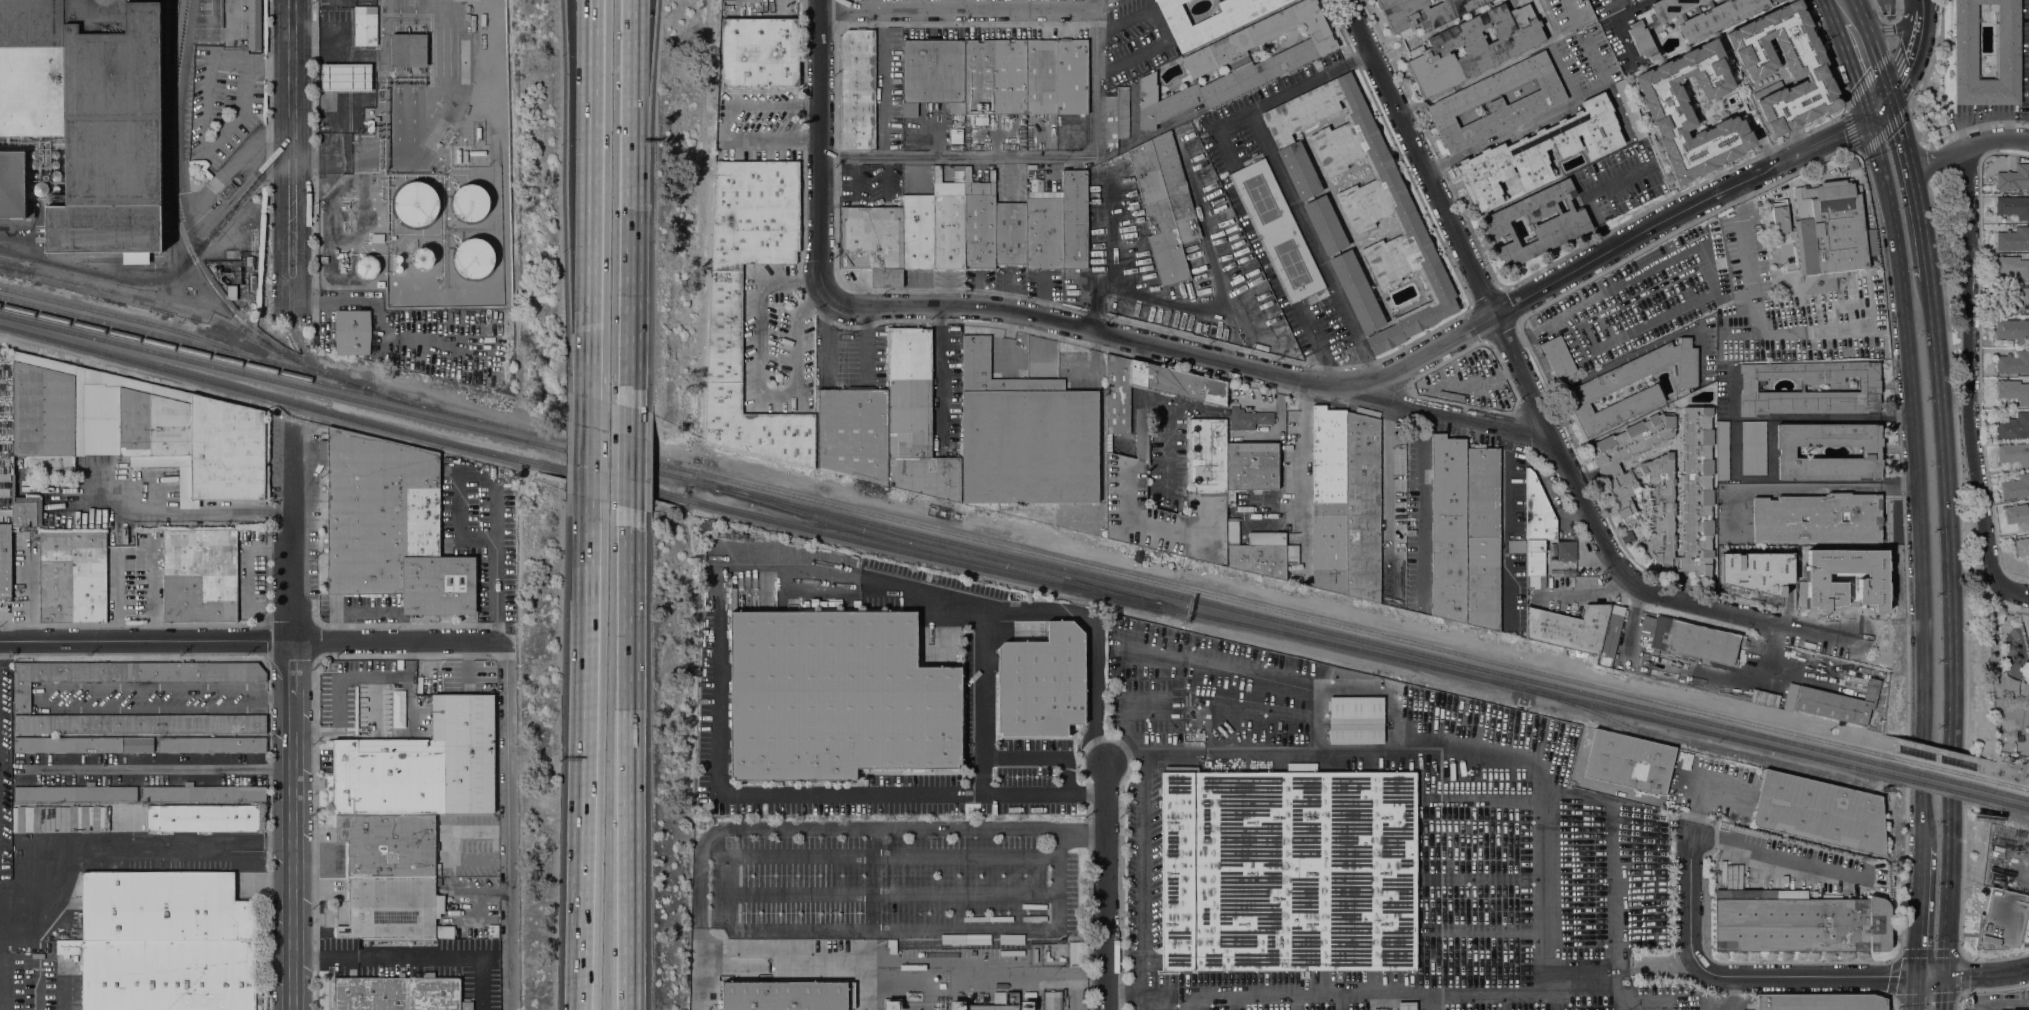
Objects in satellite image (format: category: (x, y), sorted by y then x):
building: (724, 0)
building: (1537, 0)
building: (1109, 1)
building: (1496, 1)
road: (1354, 3)
road: (1855, 7)
building: (467, 8)
road: (962, 11)
road: (1538, 12)
building: (1422, 13)
building: (1570, 13)
building: (466, 17)
building: (1718, 17)
building: (1210, 19)
building: (472, 22)
building: (1656, 23)
road: (1861, 23)
building: (254, 25)
building: (365, 25)
road: (1895, 26)
road: (1886, 28)
road: (1162, 32)
building: (1965, 41)
road: (1890, 43)
road: (634, 45)
road: (644, 45)
building: (1473, 47)
building: (408, 50)
road: (1912, 50)
building: (759, 52)
road: (1893, 54)
railway: (175, 55)
building: (1237, 63)
road: (1849, 68)
building: (1807, 71)
building: (932, 74)
road: (1880, 75)
building: (1056, 76)
building: (346, 77)
building: (994, 77)
road: (880, 85)
building: (857, 89)
road: (1293, 89)
road: (592, 94)
building: (1496, 102)
road: (775, 103)
building: (1630, 109)
building: (1667, 109)
building: (90, 115)
building: (1117, 117)
road: (1542, 117)
building: (370, 125)
building: (478, 133)
road: (758, 138)
road: (1224, 146)
road: (1967, 147)
road: (820, 150)
building: (477, 152)
building: (1539, 152)
building: (33, 154)
building: (55, 154)
building: (458, 156)
road: (1037, 158)
road: (291, 159)
building: (33, 164)
building: (55, 164)
building: (1852, 164)
building: (56, 175)
building: (2014, 178)
building: (1987, 179)
road: (856, 180)
road: (887, 180)
building: (13, 185)
building: (56, 188)
building: (227, 190)
building: (42, 191)
road: (1586, 194)
road: (1913, 196)
building: (1364, 197)
building: (470, 202)
storage tank: (470, 202)
building: (417, 203)
storage tank: (417, 203)
railway: (174, 204)
building: (1164, 205)
building: (2013, 206)
building: (1075, 219)
building: (948, 220)
building: (1714, 223)
building: (1563, 224)
building: (979, 225)
building: (1325, 225)
building: (1044, 230)
building: (1277, 231)
building: (917, 232)
building: (1010, 233)
road: (631, 238)
building: (2013, 238)
building: (872, 243)
road: (1624, 243)
road: (1314, 246)
building: (340, 256)
building: (474, 257)
storage tank: (474, 257)
building: (398, 258)
storage tank: (398, 258)
building: (423, 258)
storage tank: (423, 258)
building: (1833, 258)
building: (323, 259)
building: (250, 262)
railway: (17, 266)
building: (367, 266)
storage tank: (367, 266)
building: (2013, 267)
building: (398, 268)
storage tank: (398, 268)
road: (1752, 275)
road: (1899, 278)
building: (253, 281)
building: (380, 284)
building: (231, 291)
building: (1356, 291)
road: (591, 293)
road: (1485, 298)
building: (2011, 299)
railway: (210, 316)
railway: (134, 319)
building: (2013, 331)
building: (353, 332)
building: (1609, 333)
building: (725, 338)
railway: (180, 339)
building: (1738, 339)
building: (1583, 345)
road: (1933, 345)
road: (1191, 355)
building: (1558, 357)
building: (2014, 362)
road: (1094, 365)
road: (946, 371)
road: (836, 374)
road: (758, 380)
building: (1178, 383)
road: (1970, 384)
railway: (344, 386)
building: (1869, 387)
building: (1590, 389)
building: (2013, 391)
building: (1117, 396)
railway: (358, 400)
road: (1800, 417)
building: (914, 419)
building: (1248, 419)
building: (2014, 426)
building: (135, 430)
building: (853, 433)
building: (1025, 436)
building: (1102, 439)
road: (1300, 446)
building: (1753, 448)
building: (1722, 451)
building: (1870, 452)
building: (2014, 453)
road: (628, 455)
road: (589, 458)
railway: (632, 460)
railway: (576, 473)
building: (2015, 487)
road: (1808, 488)
building: (1623, 489)
road: (1388, 490)
building: (1696, 491)
building: (1329, 500)
building: (1199, 503)
building: (1363, 507)
road: (1422, 507)
building: (25, 510)
road: (496, 510)
road: (176, 512)
building: (1538, 512)
building: (2017, 514)
building: (1817, 518)
building: (390, 526)
road: (1502, 527)
building: (1447, 529)
road: (292, 531)
building: (1481, 536)
building: (1627, 537)
road: (496, 538)
building: (1516, 546)
building: (2022, 546)
railway: (936, 547)
building: (1566, 550)
road: (1904, 551)
building: (1292, 554)
building: (1839, 556)
building: (1535, 559)
building: (5, 561)
road: (1963, 567)
building: (1754, 571)
building: (199, 576)
road: (855, 576)
building: (72, 577)
building: (1536, 582)
road: (29, 588)
road: (152, 591)
building: (1806, 593)
road: (117, 595)
road: (1922, 606)
road: (1948, 607)
railway: (1285, 611)
road: (1745, 618)
railway: (1300, 624)
building: (1569, 628)
building: (1611, 636)
building: (1692, 640)
road: (254, 642)
park: (2007, 654)
road: (292, 669)
building: (126, 674)
building: (1042, 684)
road: (50, 686)
railway: (1521, 687)
building: (2023, 689)
building: (837, 697)
building: (1763, 698)
road: (983, 702)
building: (1832, 702)
building: (399, 711)
building: (1356, 721)
building: (140, 724)
road: (1455, 731)
building: (83, 744)
building: (211, 744)
railway: (1697, 745)
road: (1124, 756)
road: (1044, 759)
building: (1629, 763)
road: (585, 764)
building: (422, 765)
road: (155, 767)
railway: (1937, 767)
road: (626, 768)
railway: (1940, 777)
railway: (2011, 784)
railway: (1941, 787)
road: (1722, 788)
building: (75, 793)
building: (204, 793)
railway: (2012, 794)
road: (1699, 795)
road: (912, 796)
railway: (2013, 804)
building: (73, 809)
building: (134, 814)
building: (1820, 814)
building: (202, 818)
road: (1923, 822)
road: (1951, 823)
road: (511, 826)
road: (862, 828)
road: (137, 843)
building: (389, 845)
road: (293, 852)
road: (880, 853)
road: (1773, 853)
building: (1288, 872)
road: (871, 879)
road: (1106, 886)
road: (731, 887)
road: (896, 890)
road: (1141, 891)
building: (394, 908)
road: (1919, 913)
road: (1946, 914)
building: (2003, 921)
building: (1798, 922)
road: (944, 930)
building: (165, 943)
building: (892, 946)
road: (414, 954)
road: (1898, 958)
road: (873, 969)
road: (1745, 975)
road: (1979, 975)
traffic signals: (1929, 976)
road: (4, 983)
road: (40, 983)
road: (1593, 986)
road: (1360, 992)
building: (398, 993)
road: (1929, 993)
road: (63, 994)
road: (1164, 994)
building: (788, 996)
building: (999, 997)
building: (1051, 1000)
road: (1141, 1002)
building: (1821, 1002)
road: (2002, 1002)
building: (890, 1005)
building: (956, 1005)
building: (1027, 1005)
building: (1406, 1006)
building: (993, 1007)

